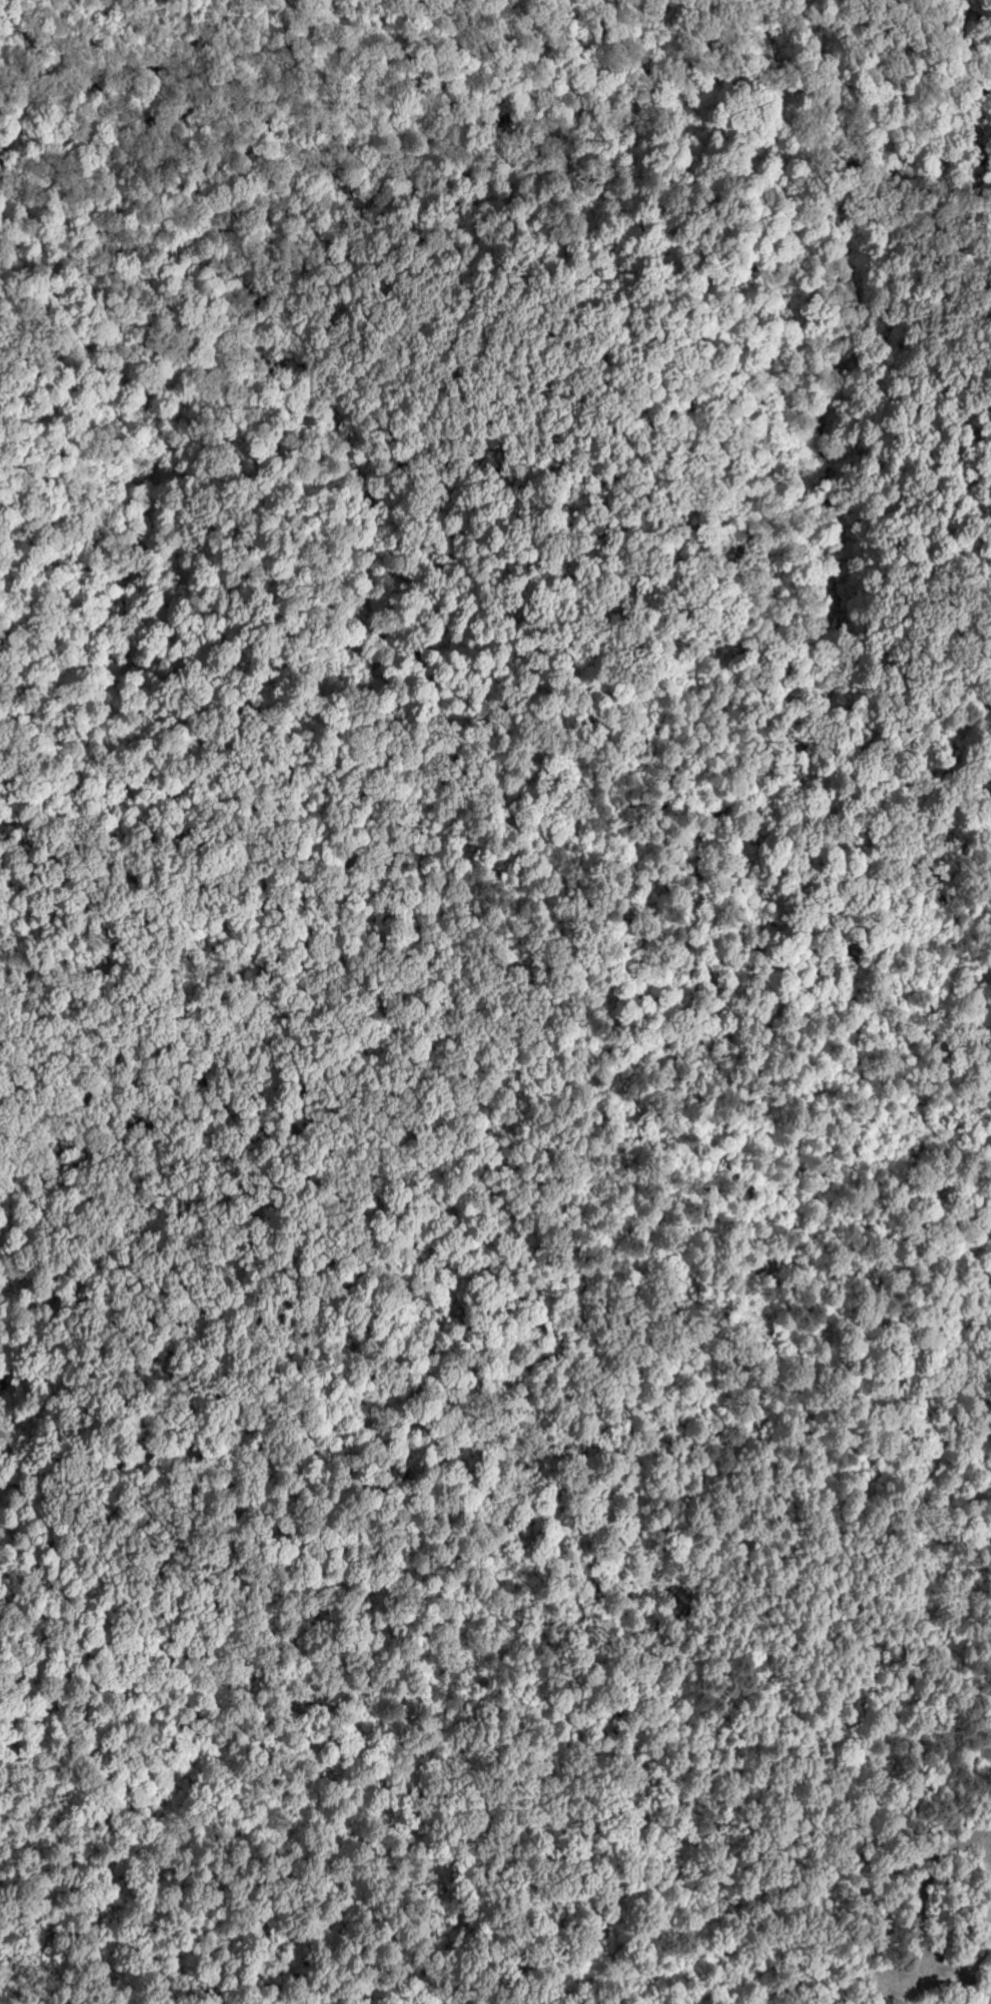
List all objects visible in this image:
road: (918, 1912)

